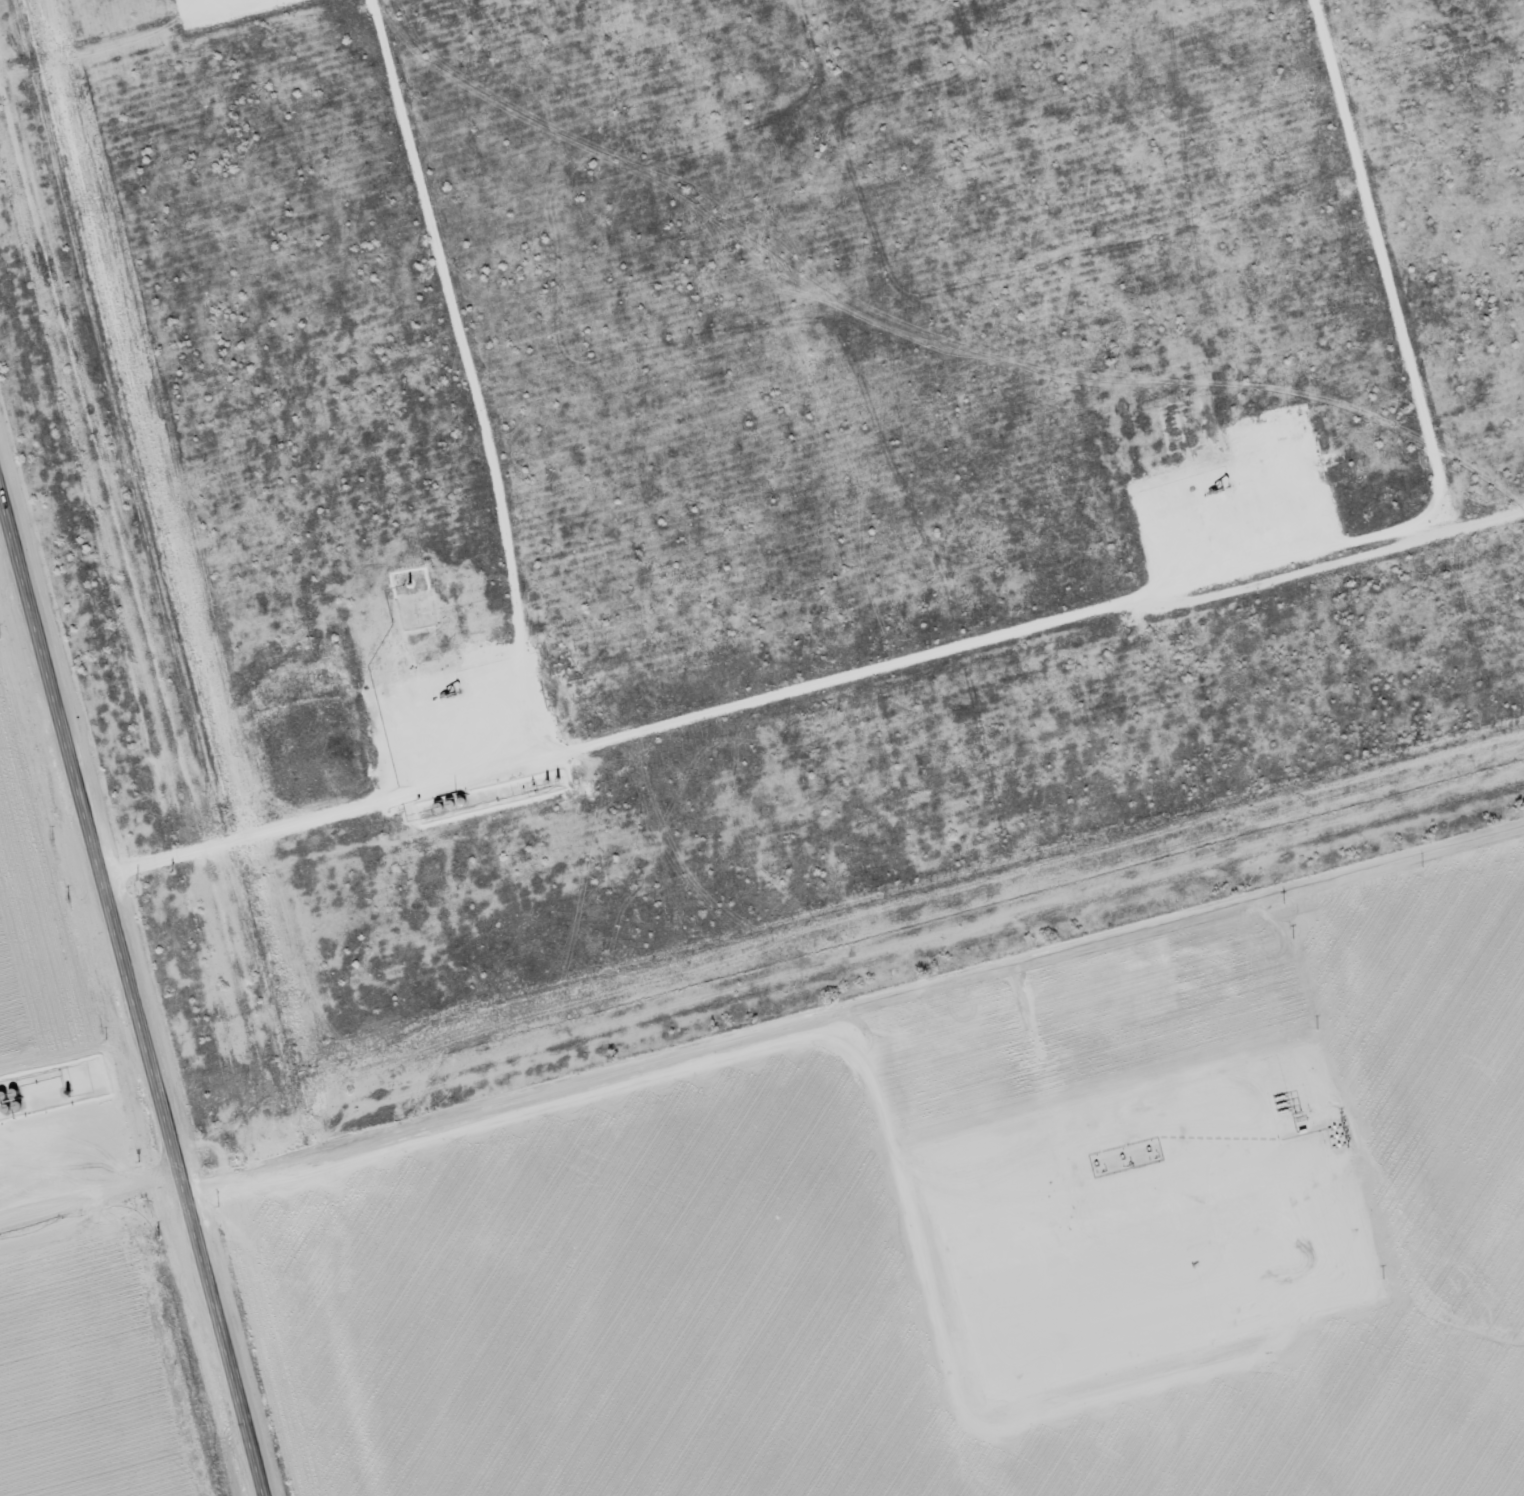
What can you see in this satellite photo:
road: (110, 42)
road: (471, 373)
road: (1027, 621)
road: (134, 987)

